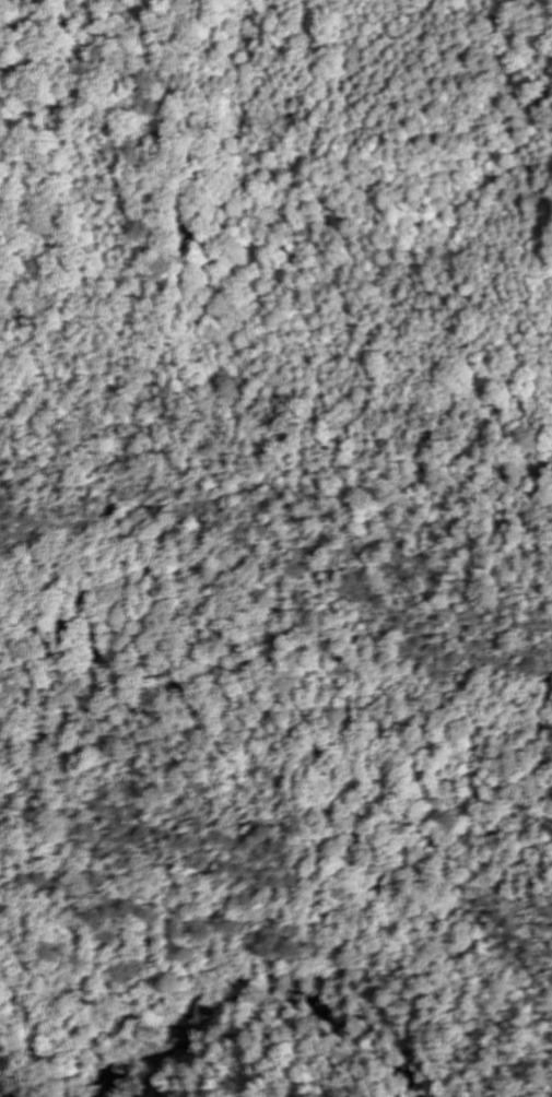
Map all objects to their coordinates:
road: (155, 999)
road: (329, 1041)

